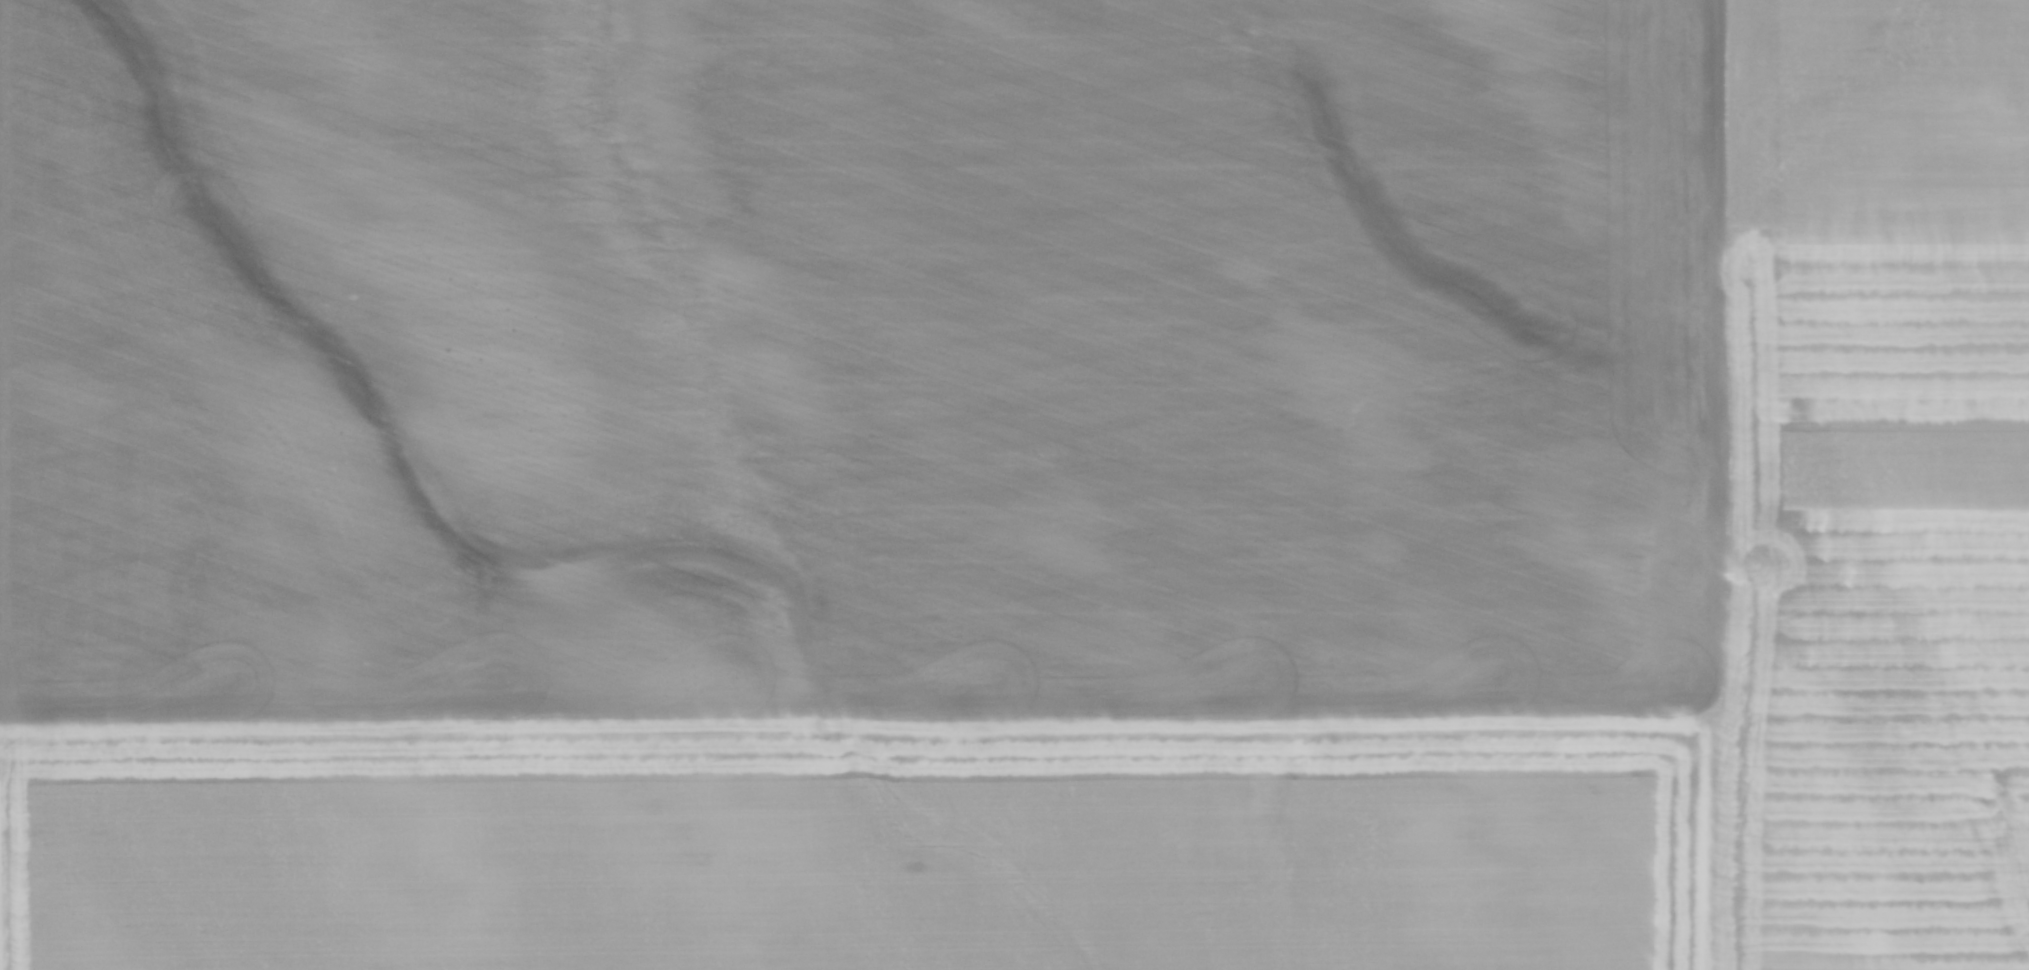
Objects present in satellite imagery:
crop: (1014, 485)

